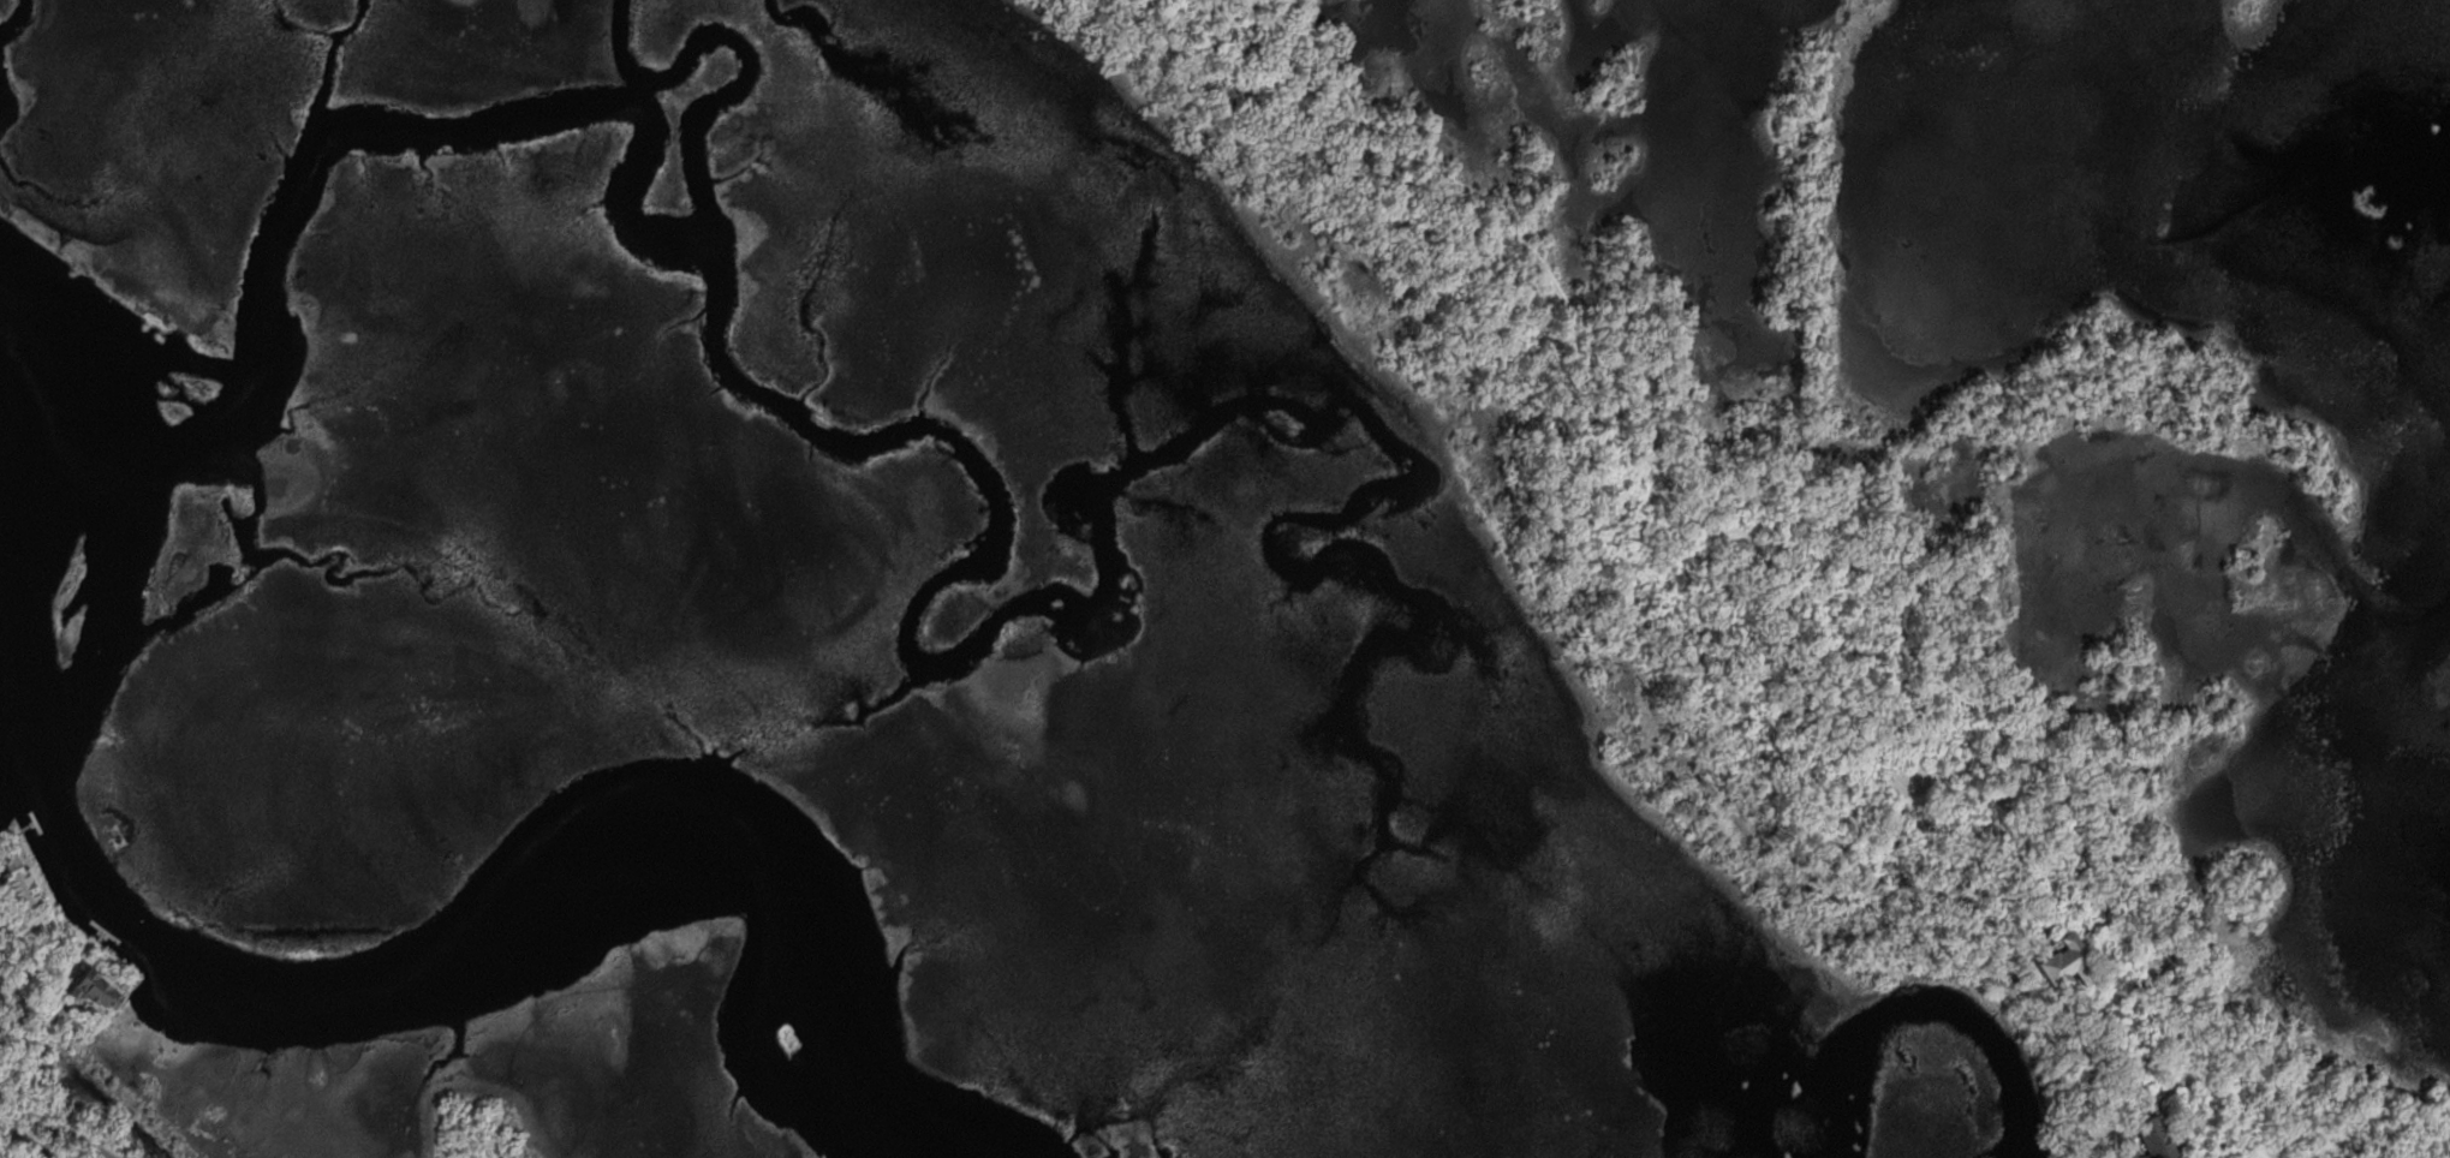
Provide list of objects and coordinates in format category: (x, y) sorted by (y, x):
road: (1807, 531)
road: (1961, 766)
building: (119, 835)
building: (22, 882)
building: (2084, 919)
building: (2052, 967)
building: (100, 987)
road: (43, 1050)
road: (477, 1110)
road: (56, 1123)
road: (11, 1126)
road: (29, 1139)
building: (2144, 1140)

